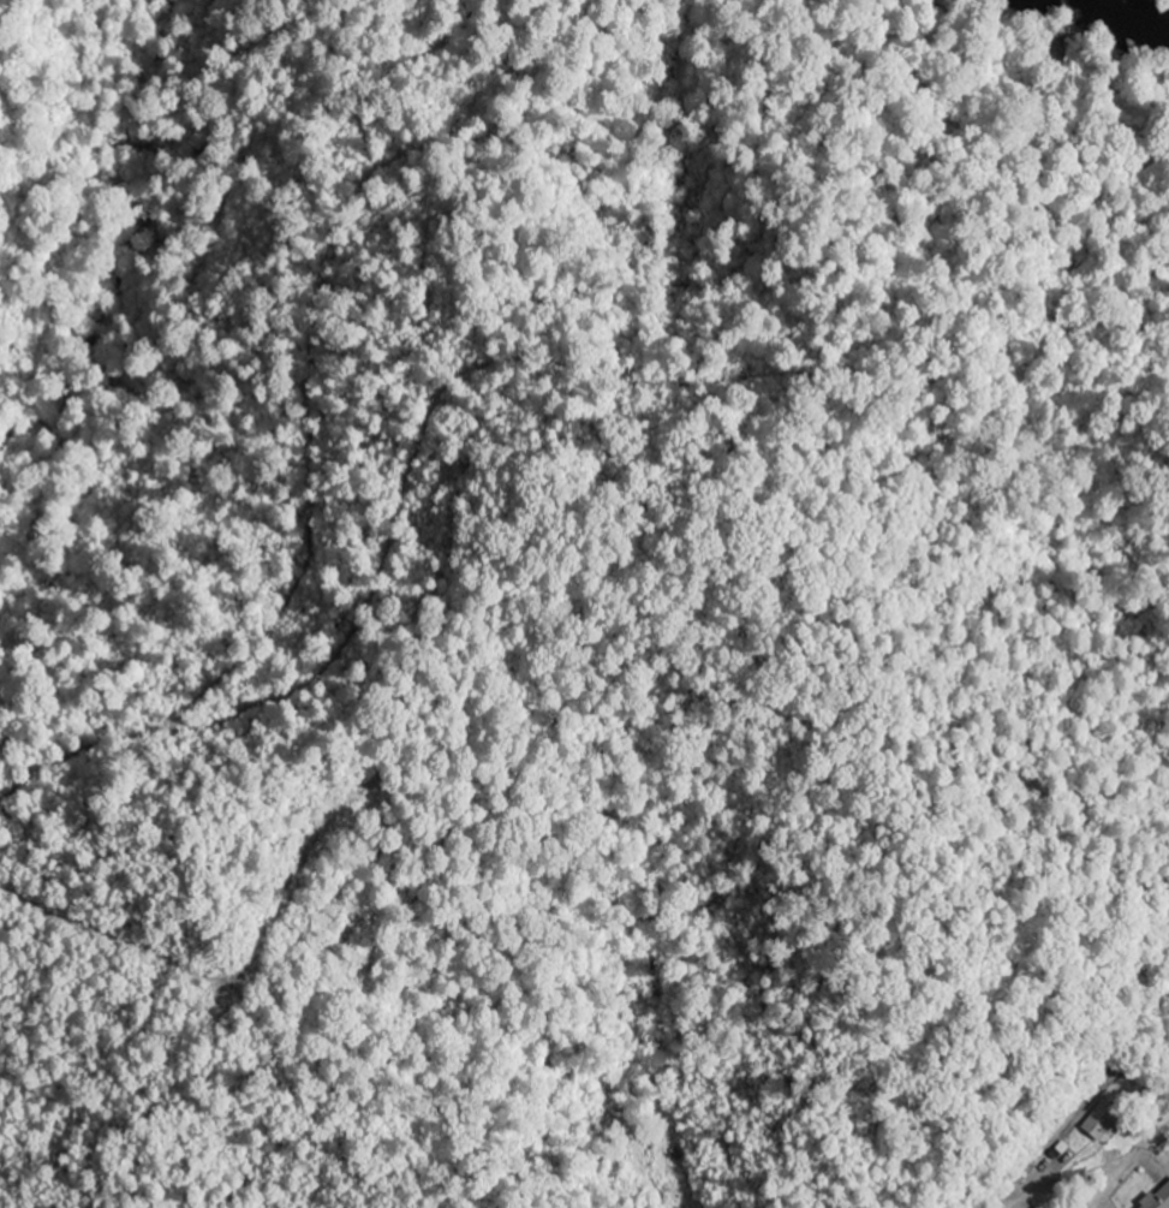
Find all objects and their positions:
river: (1132, 8)
building: (1104, 1123)
road: (1127, 1166)
building: (1159, 1200)

